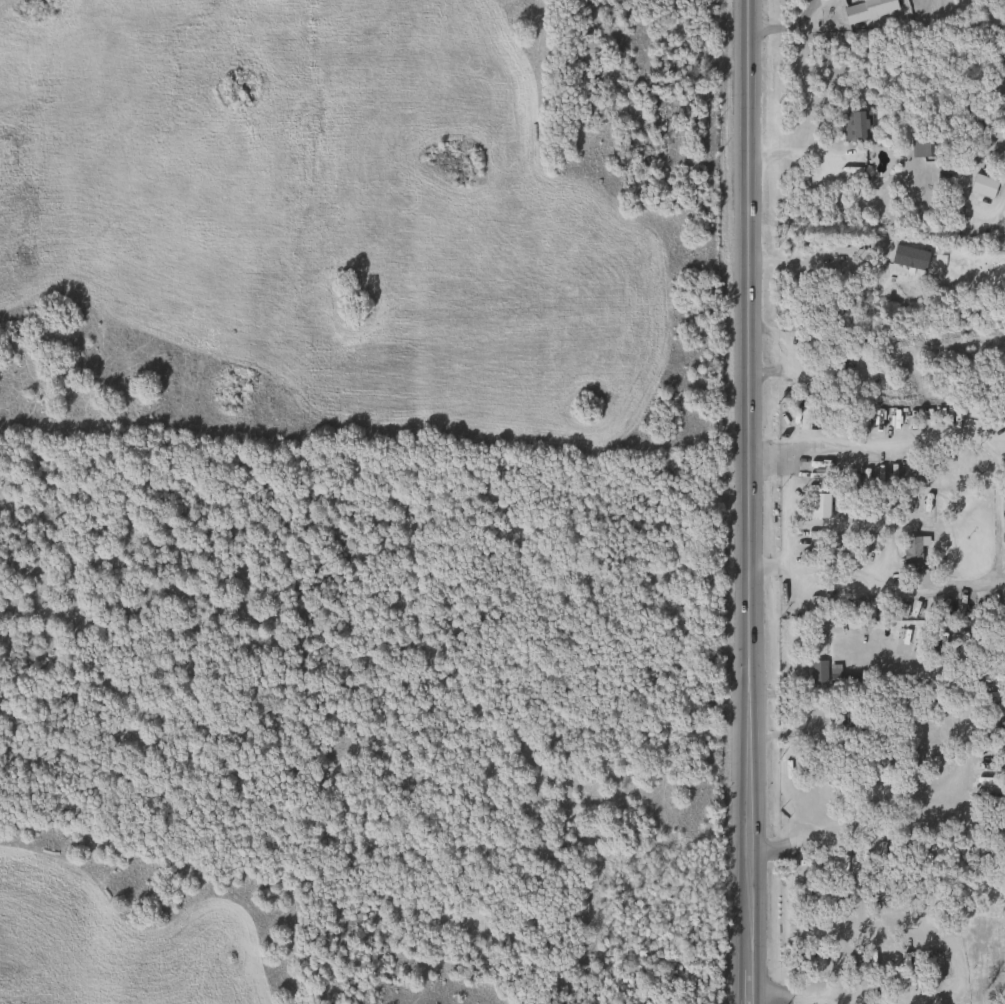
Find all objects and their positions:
building: (866, 9)
road: (782, 25)
building: (1004, 61)
building: (1004, 107)
building: (855, 125)
building: (918, 146)
road: (786, 155)
building: (981, 185)
road: (805, 268)
road: (741, 347)
building: (984, 418)
road: (996, 439)
building: (818, 470)
building: (909, 554)
road: (816, 569)
building: (825, 674)
road: (819, 709)
road: (747, 717)
road: (944, 790)
road: (749, 872)
building: (870, 962)
road: (957, 973)

